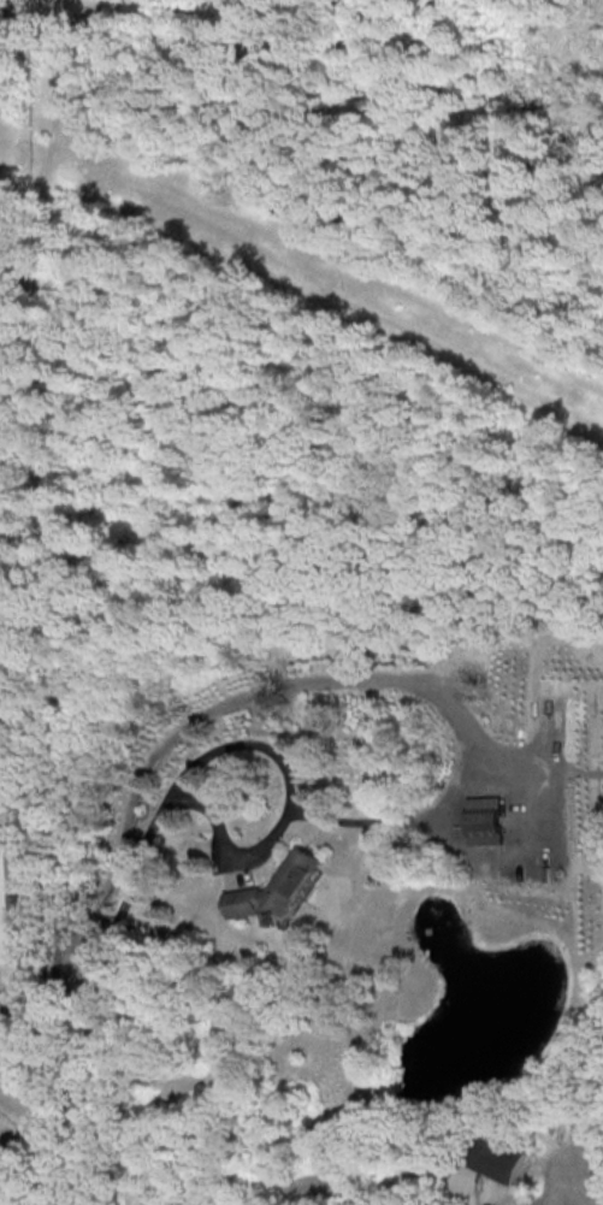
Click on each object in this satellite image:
building: (486, 820)
road: (221, 837)
building: (282, 885)
building: (6, 905)
road: (58, 1074)
road: (26, 1109)
building: (501, 1158)

